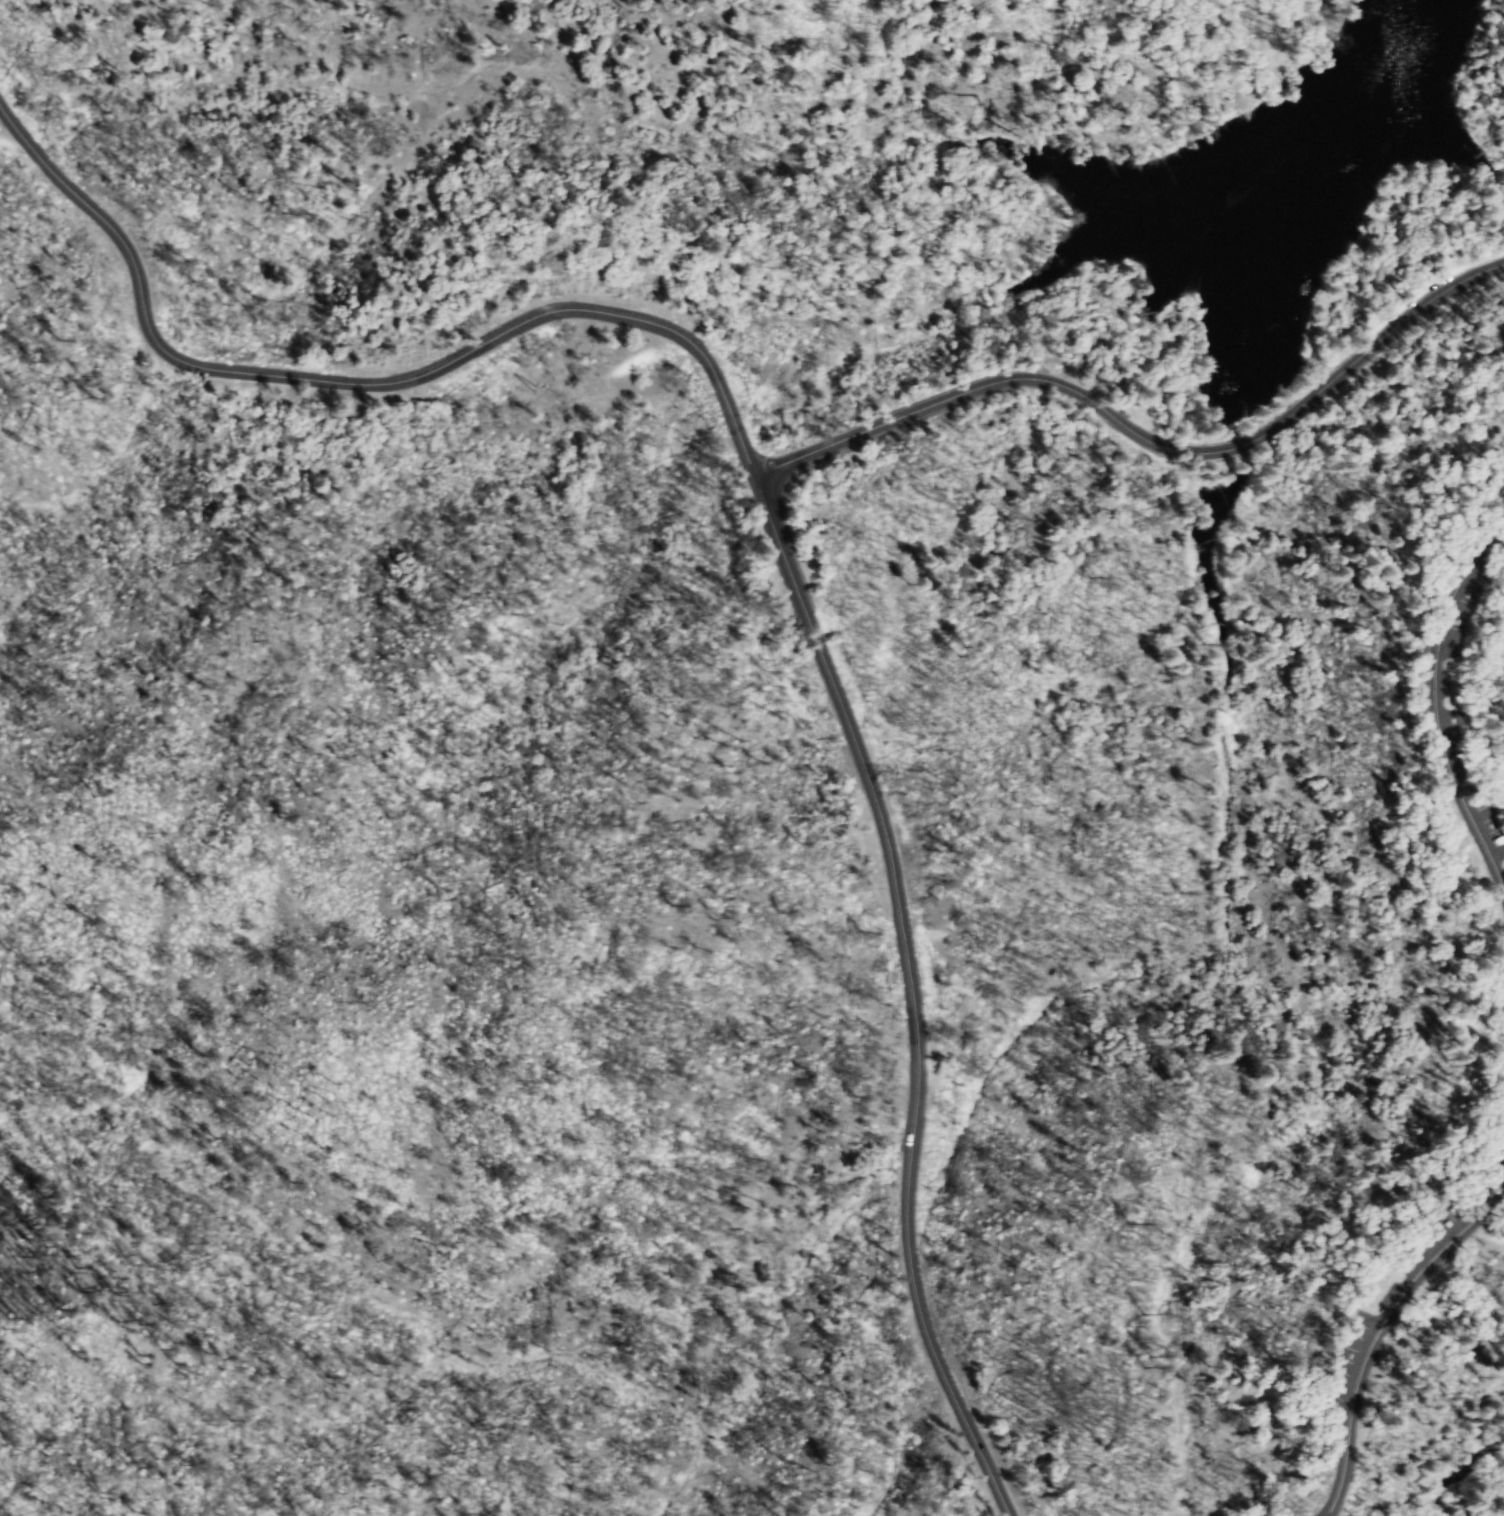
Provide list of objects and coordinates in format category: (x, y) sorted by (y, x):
road: (1141, 441)
road: (765, 515)
road: (1429, 713)
road: (1391, 1310)

